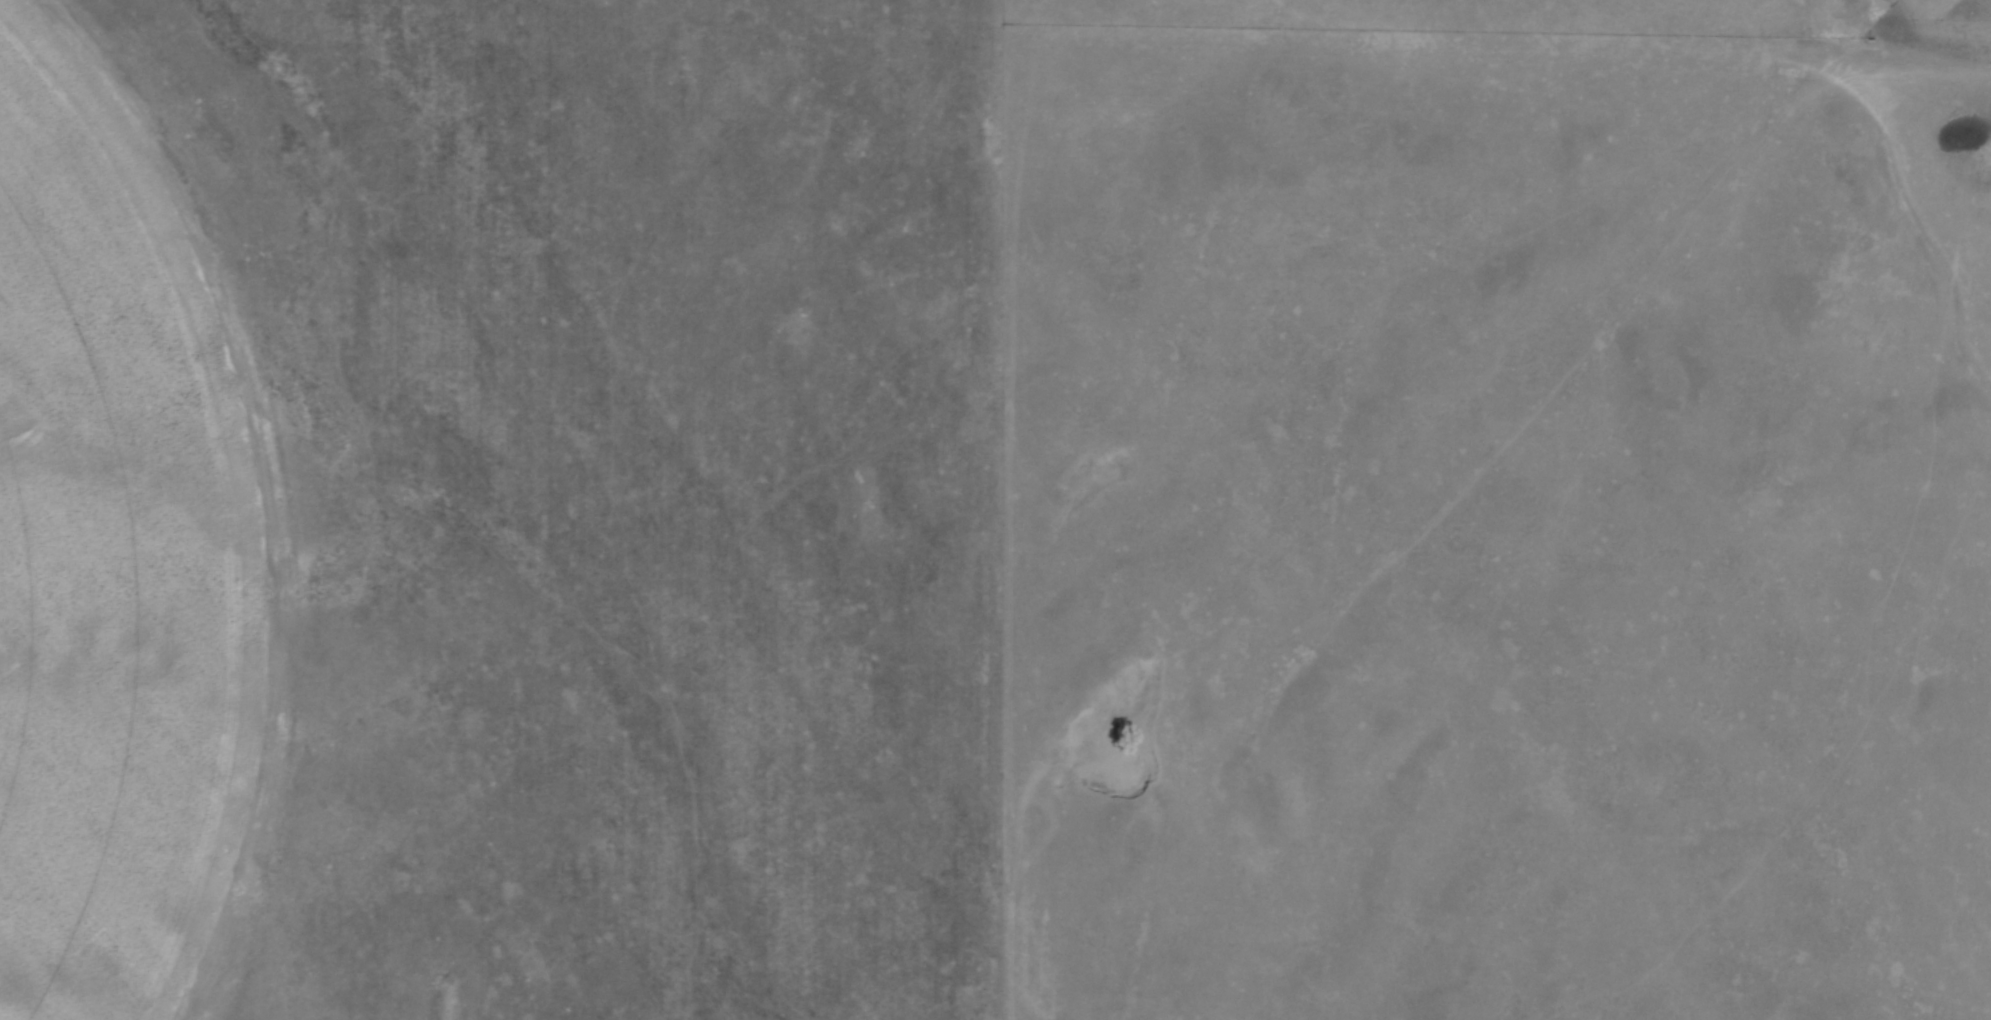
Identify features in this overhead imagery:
crop: (124, 556)

